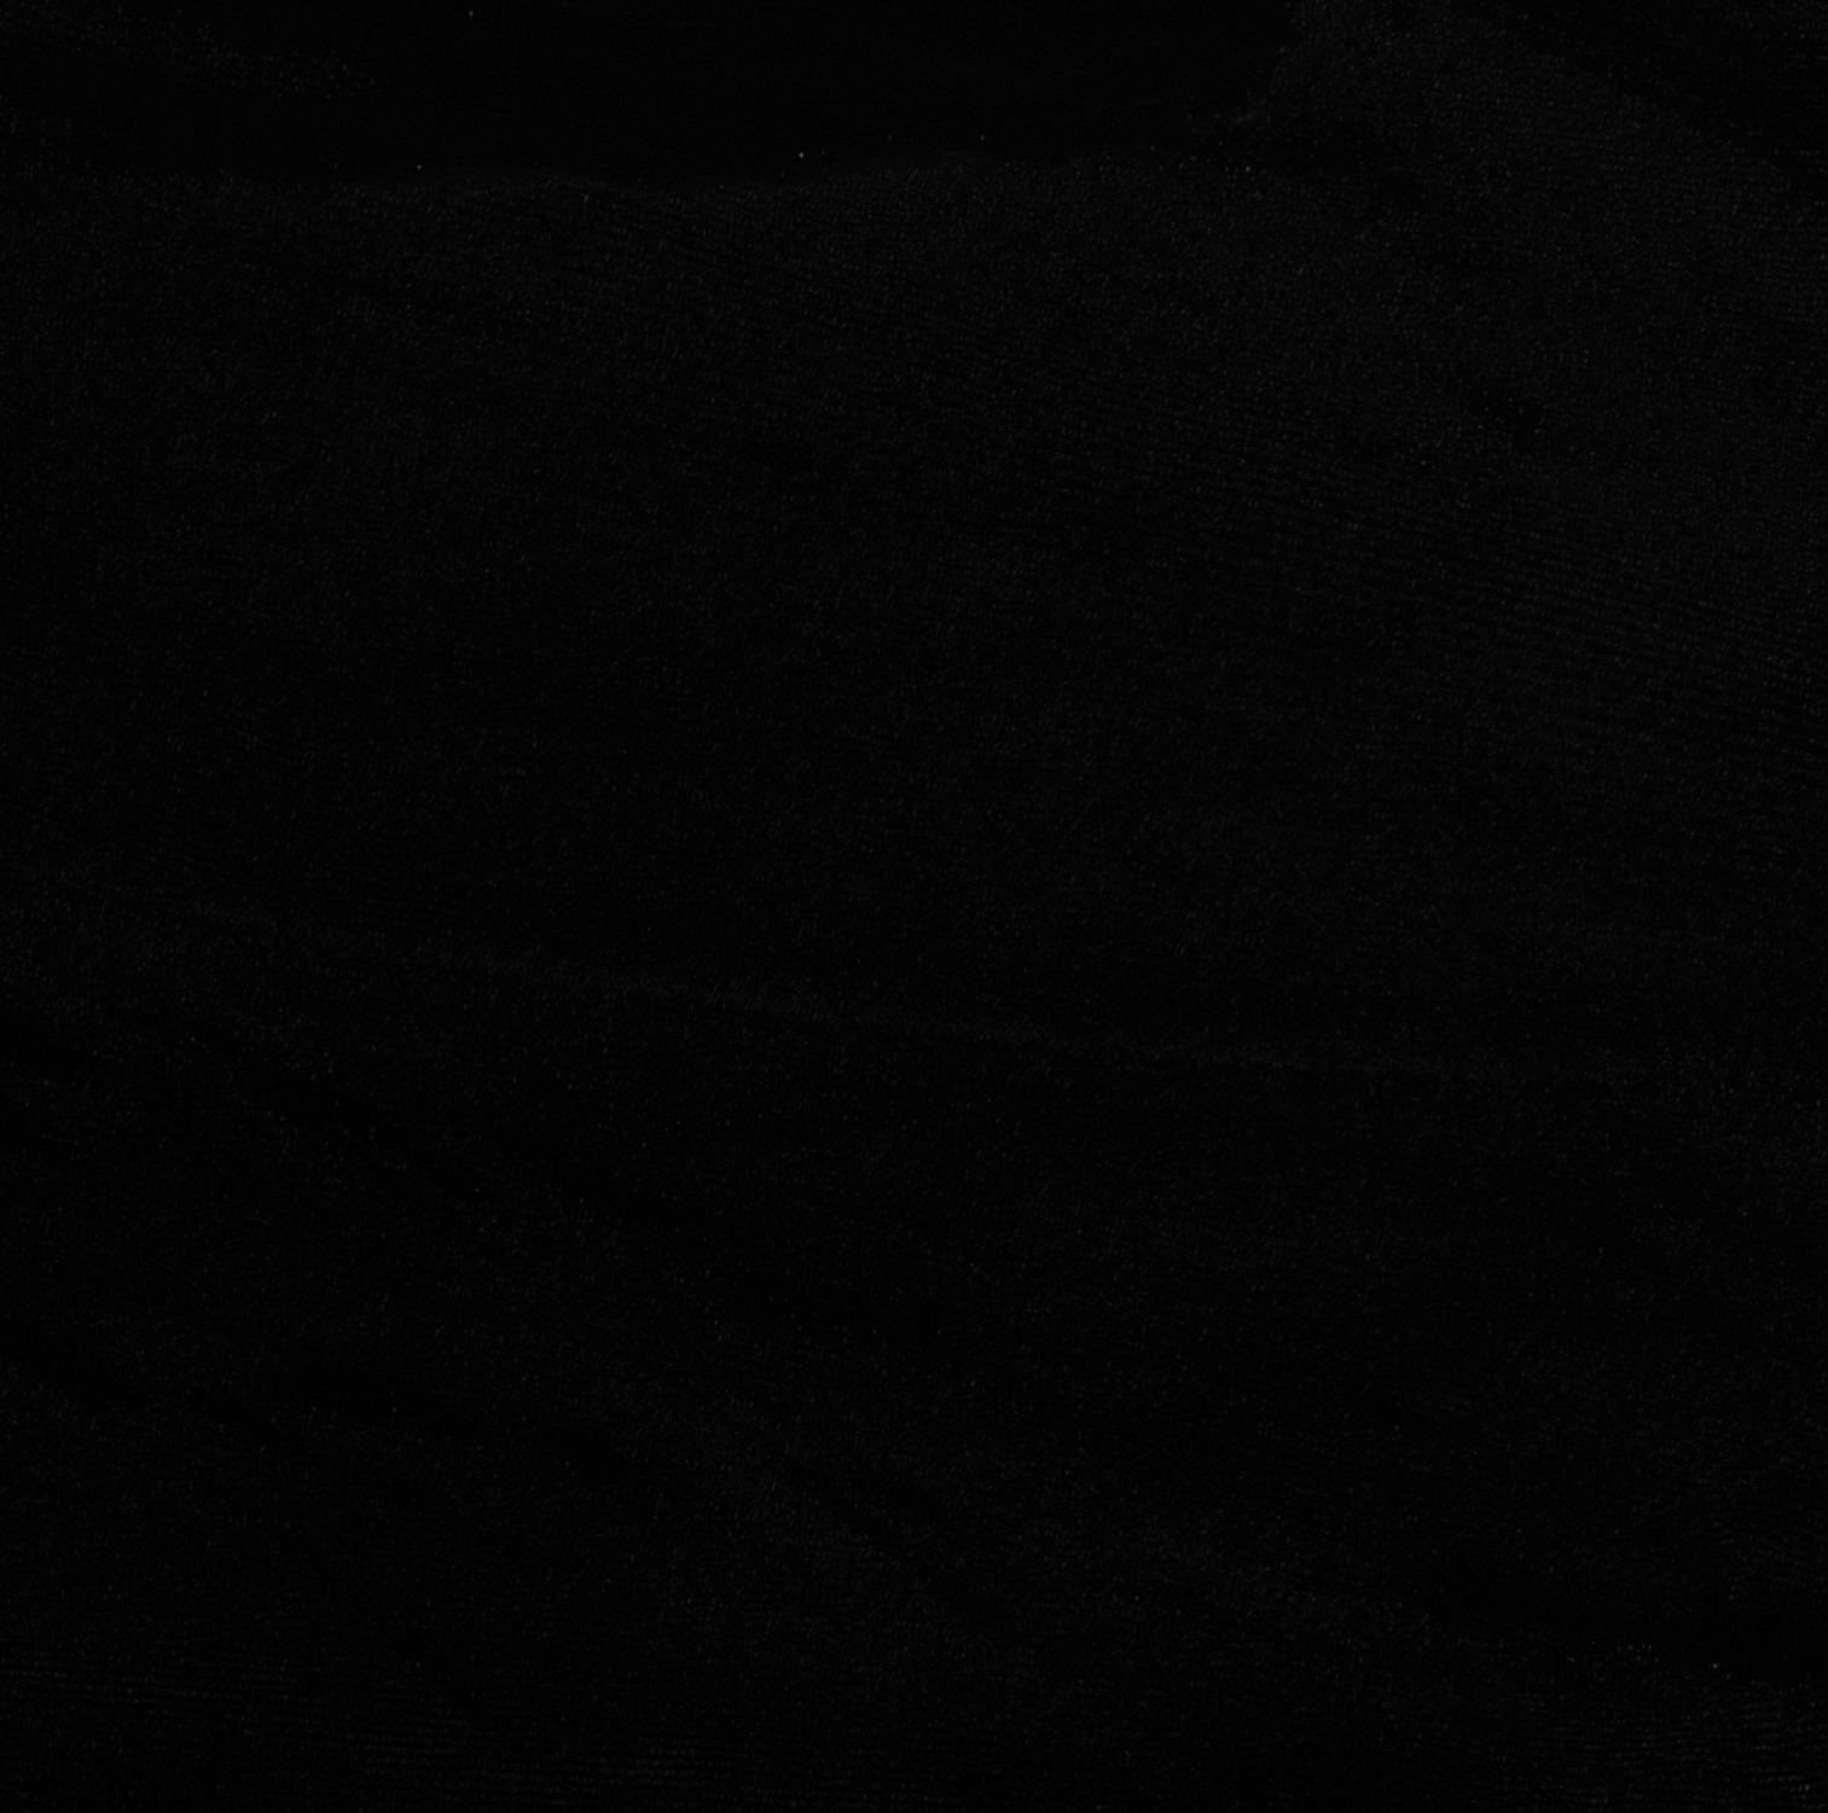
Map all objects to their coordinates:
building: (1550, 489)

